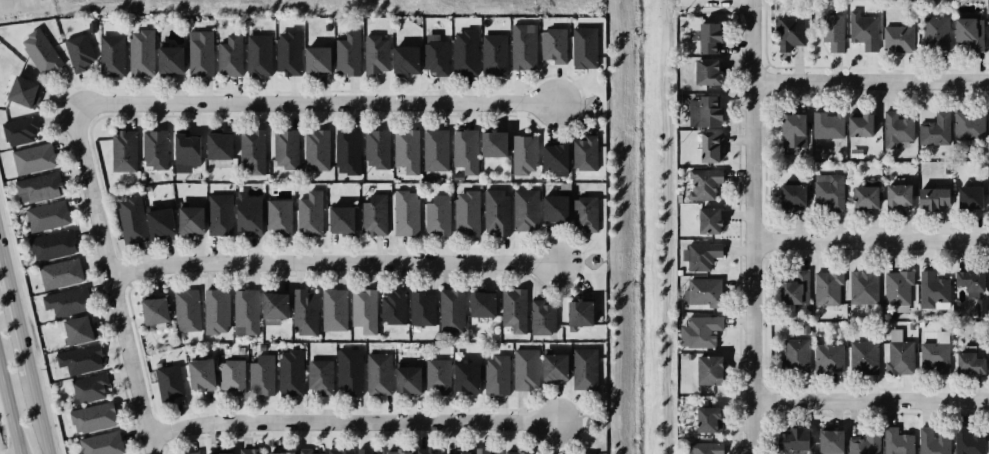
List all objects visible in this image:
parking lot: (26, 8)
building: (862, 29)
building: (833, 30)
building: (788, 32)
building: (969, 32)
building: (934, 33)
building: (710, 36)
building: (897, 38)
road: (751, 41)
building: (551, 44)
building: (582, 46)
building: (519, 47)
building: (39, 49)
building: (78, 51)
building: (287, 51)
building: (463, 51)
building: (198, 52)
building: (140, 53)
building: (492, 53)
building: (257, 54)
building: (373, 54)
building: (434, 54)
building: (110, 55)
building: (227, 55)
building: (346, 55)
building: (402, 57)
building: (166, 58)
building: (312, 58)
building: (708, 72)
road: (870, 82)
building: (19, 90)
road: (318, 103)
building: (703, 111)
building: (827, 124)
building: (861, 124)
building: (967, 125)
building: (988, 125)
building: (895, 128)
building: (935, 129)
building: (19, 131)
building: (793, 132)
building: (494, 143)
building: (219, 144)
building: (710, 146)
building: (186, 147)
building: (154, 148)
building: (285, 148)
building: (376, 148)
building: (435, 149)
building: (123, 150)
building: (252, 150)
building: (316, 150)
building: (347, 150)
building: (406, 150)
building: (465, 150)
building: (585, 152)
building: (523, 153)
building: (32, 158)
building: (556, 158)
building: (910, 163)
building: (457, 176)
building: (703, 182)
building: (37, 188)
building: (829, 190)
building: (792, 194)
building: (866, 195)
building: (898, 196)
building: (933, 197)
building: (970, 197)
building: (556, 204)
building: (525, 208)
building: (495, 211)
building: (405, 212)
building: (467, 212)
building: (585, 212)
building: (248, 213)
building: (309, 213)
building: (218, 214)
building: (374, 214)
building: (437, 214)
building: (46, 215)
building: (278, 215)
building: (132, 219)
building: (190, 219)
building: (342, 219)
building: (709, 220)
building: (160, 221)
road: (871, 241)
building: (51, 245)
building: (700, 255)
road: (2, 258)
road: (338, 260)
road: (753, 268)
building: (59, 272)
building: (970, 279)
road: (114, 284)
building: (827, 286)
building: (896, 286)
building: (863, 287)
building: (795, 288)
building: (932, 290)
building: (702, 291)
building: (65, 301)
building: (275, 303)
building: (482, 303)
building: (393, 307)
building: (421, 307)
building: (186, 308)
building: (334, 308)
building: (246, 309)
building: (451, 309)
building: (513, 309)
building: (153, 310)
building: (215, 310)
building: (364, 310)
building: (305, 311)
building: (579, 313)
building: (542, 317)
road: (16, 319)
building: (919, 323)
building: (911, 325)
building: (805, 328)
building: (77, 330)
building: (701, 330)
building: (842, 333)
building: (988, 349)
building: (795, 354)
building: (688, 356)
building: (864, 356)
building: (899, 356)
building: (827, 357)
building: (934, 357)
building: (79, 358)
building: (970, 361)
building: (554, 366)
building: (584, 368)
building: (525, 369)
building: (710, 369)
building: (349, 370)
building: (290, 372)
building: (378, 373)
building: (202, 374)
building: (232, 375)
building: (261, 375)
building: (496, 375)
building: (319, 376)
building: (437, 376)
building: (467, 376)
building: (408, 379)
building: (168, 382)
building: (89, 386)
road: (870, 400)
road: (38, 413)
road: (9, 415)
building: (93, 416)
building: (709, 419)
building: (596, 423)
road: (356, 429)
building: (794, 439)
building: (966, 440)
building: (897, 441)
building: (932, 441)
building: (830, 442)
building: (865, 442)
building: (988, 442)
building: (101, 443)
building: (705, 447)
building: (224, 451)
building: (249, 451)
building: (306, 451)
building: (339, 451)
building: (366, 451)
building: (424, 451)
building: (463, 451)
building: (484, 451)
building: (190, 452)
building: (281, 452)
building: (398, 452)
building: (518, 452)
building: (587, 453)

